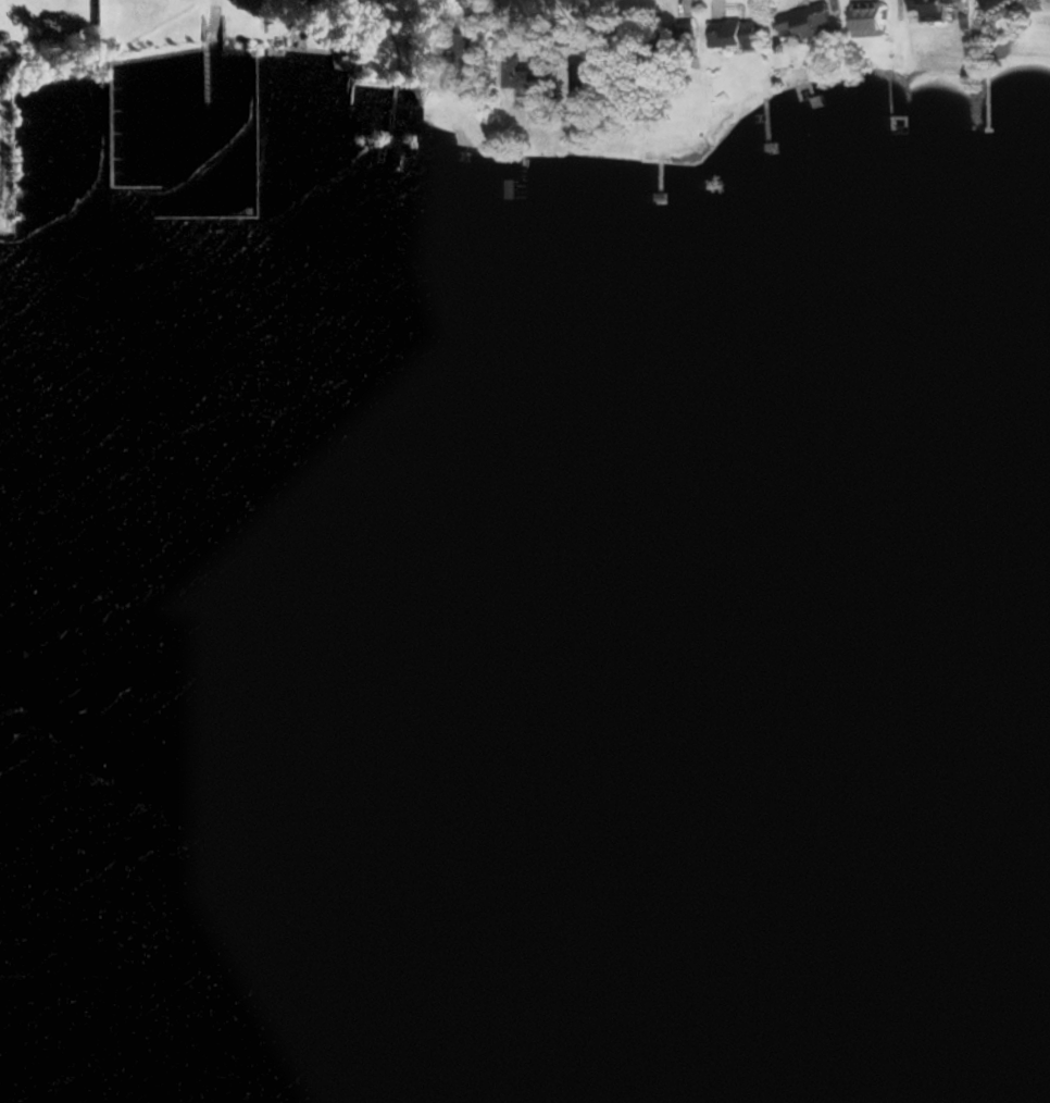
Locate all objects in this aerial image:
building: (991, 3)
road: (434, 9)
building: (935, 9)
building: (807, 21)
building: (734, 35)
building: (463, 39)
building: (676, 42)
building: (595, 75)
building: (540, 76)

